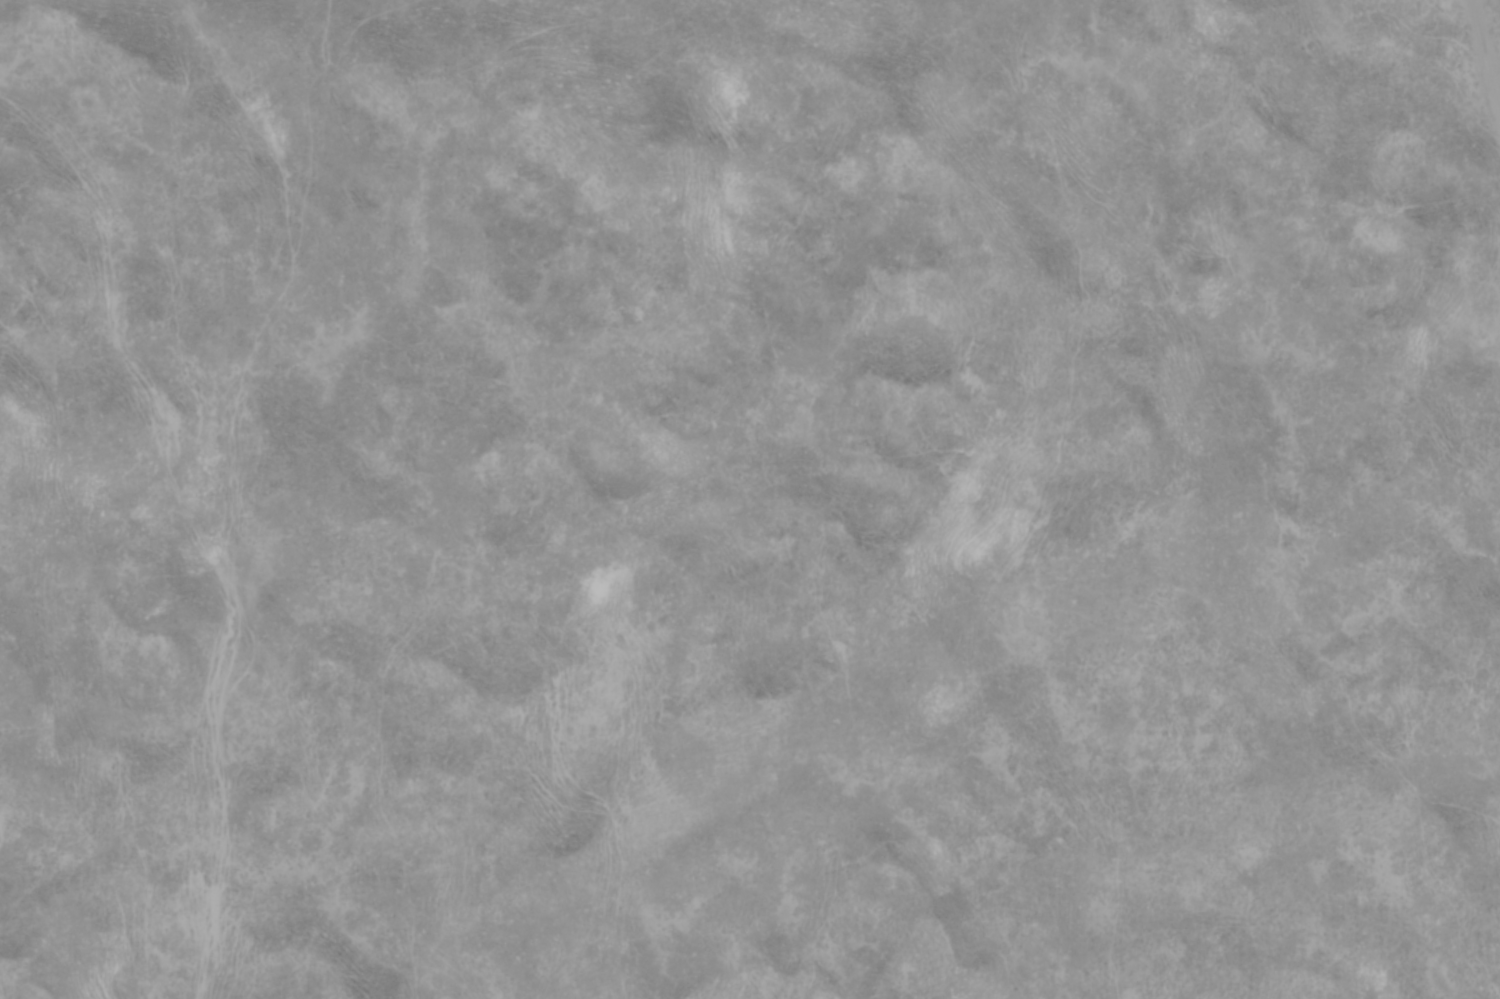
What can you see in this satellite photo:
road: (1488, 50)

